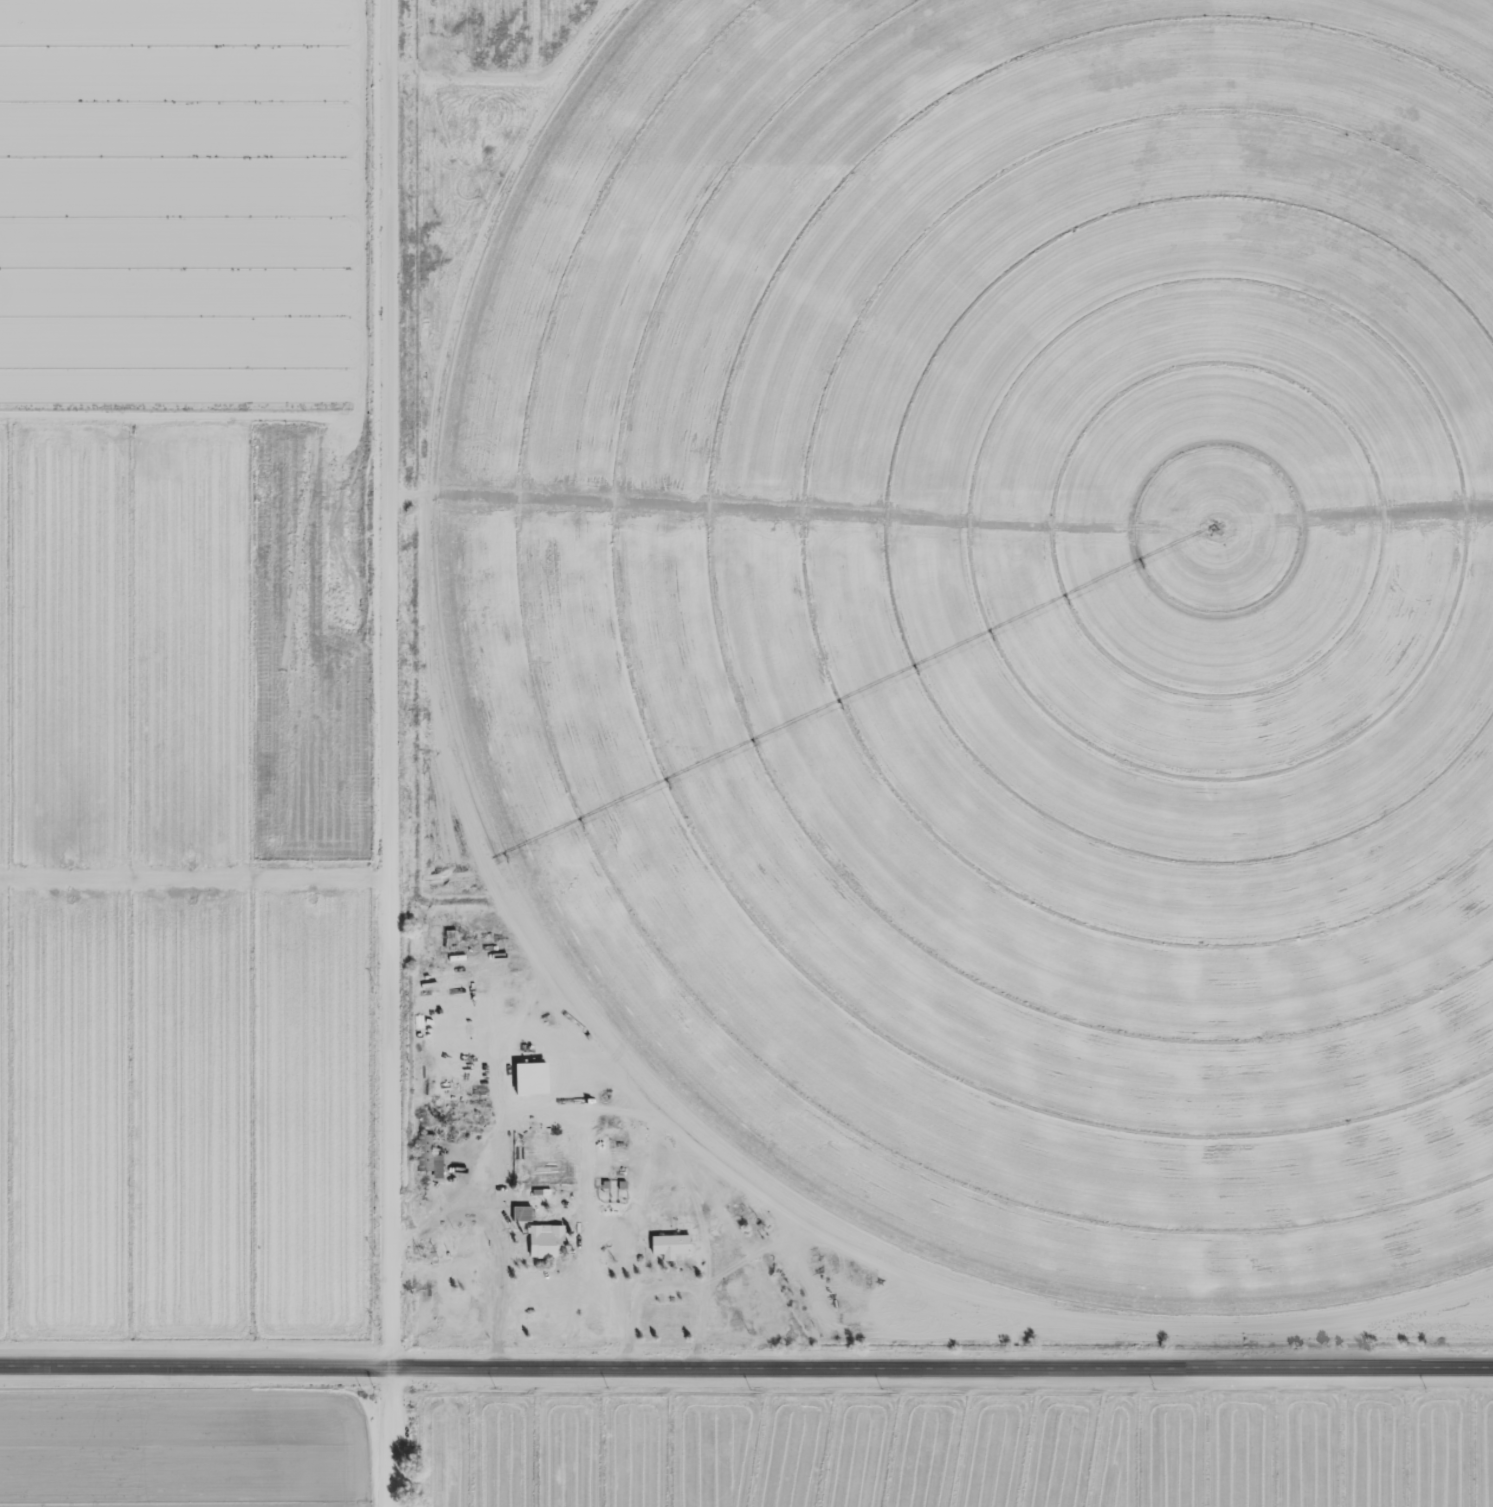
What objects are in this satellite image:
road: (192, 206)
crop: (1012, 619)
crop: (173, 653)
road: (385, 753)
building: (449, 940)
building: (427, 1155)
building: (521, 1213)
building: (546, 1241)
building: (670, 1245)
road: (746, 1366)

